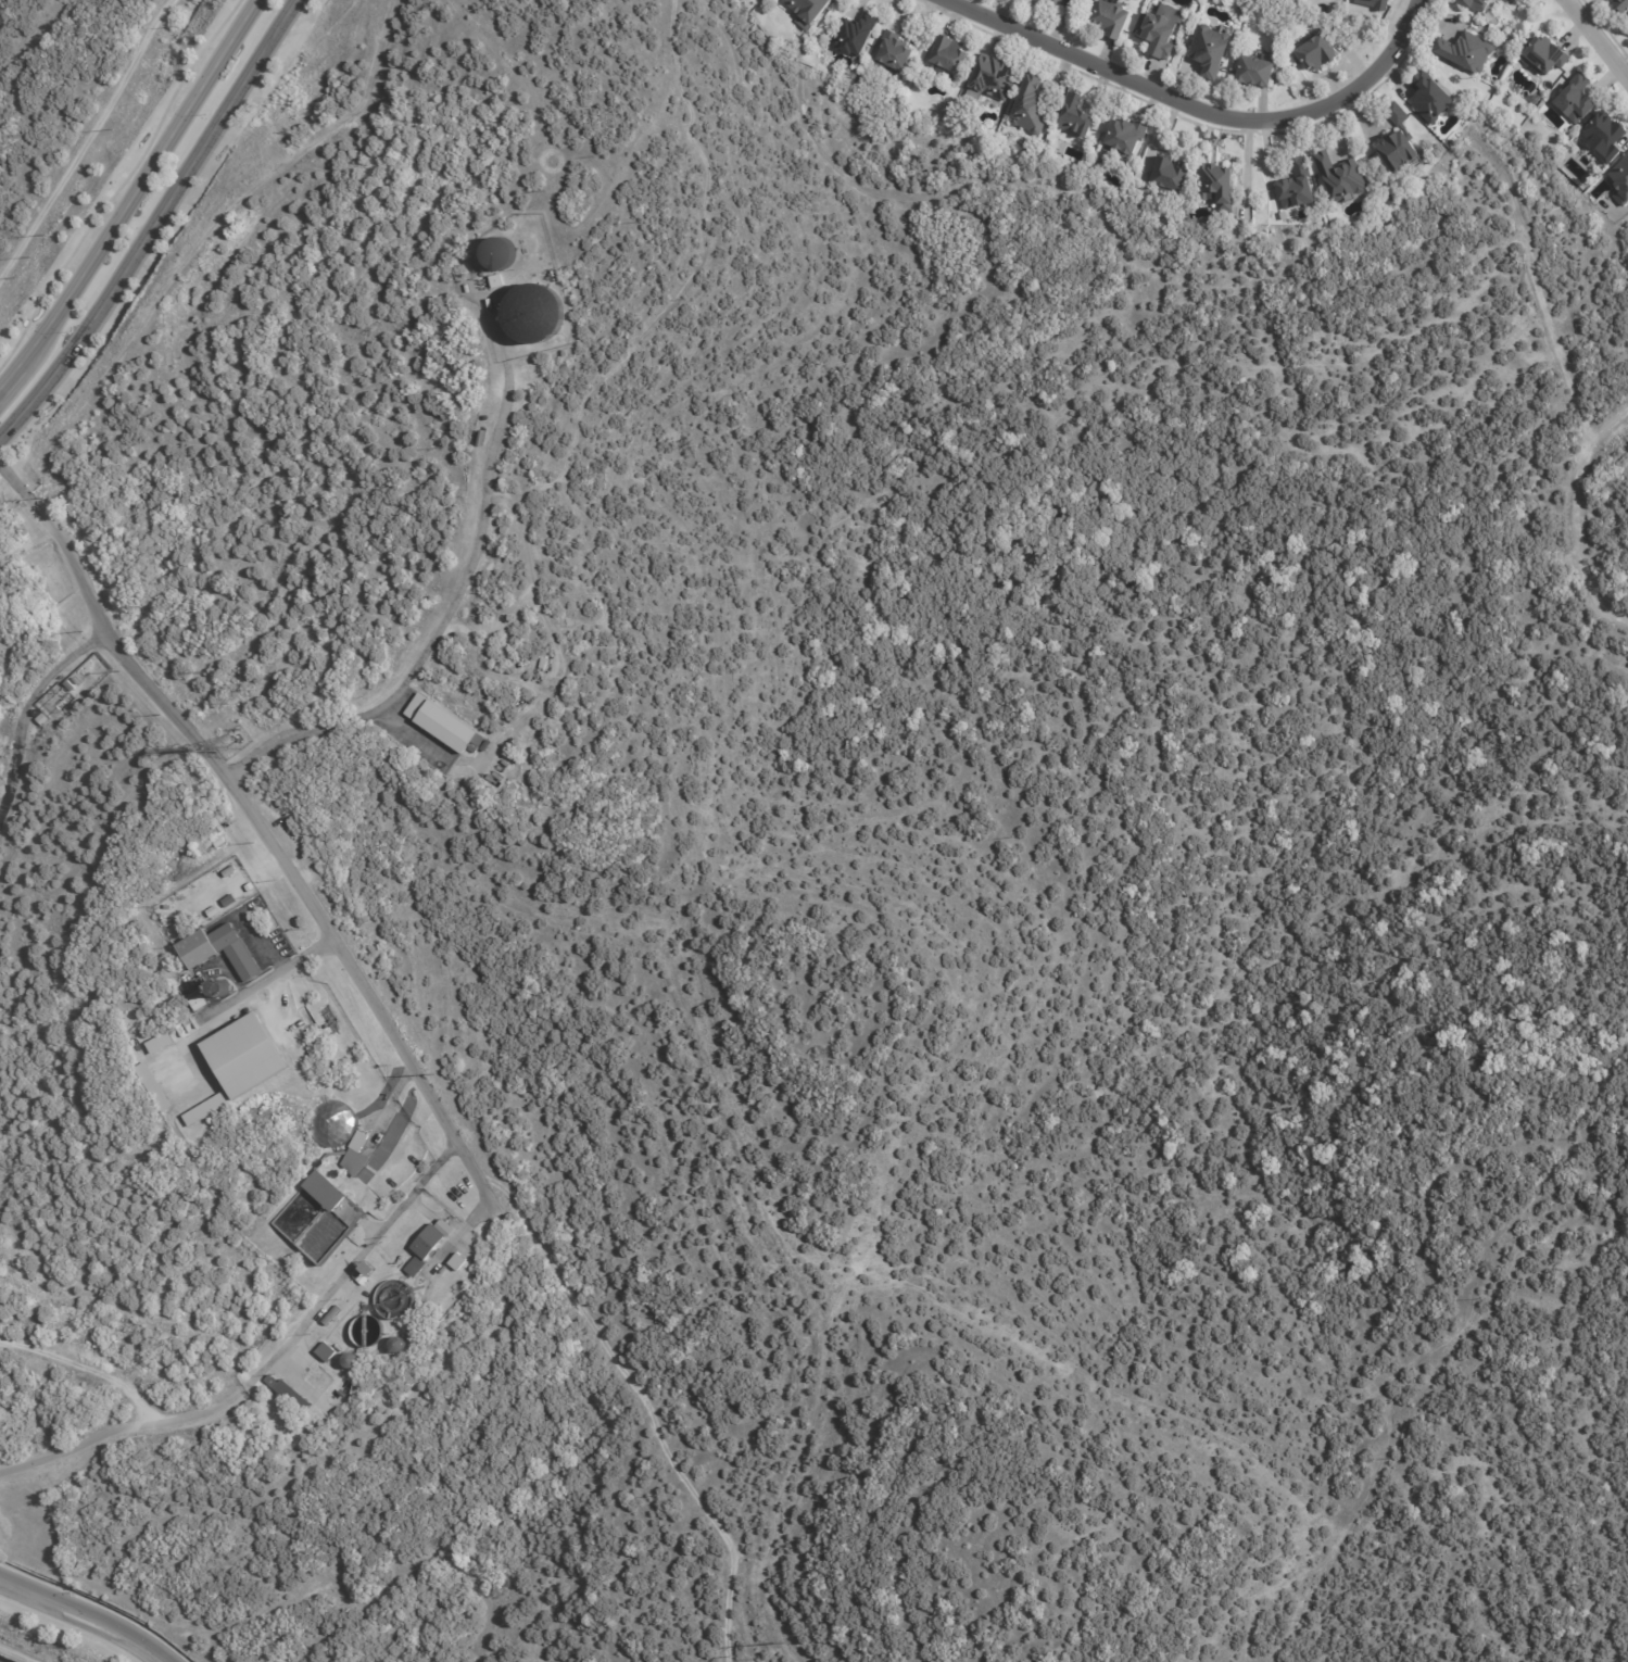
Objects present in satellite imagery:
building: (1086, 0)
building: (1513, 1)
building: (1053, 3)
building: (1374, 3)
building: (1469, 3)
building: (1620, 5)
building: (810, 11)
road: (907, 13)
building: (1112, 18)
building: (1627, 28)
building: (1163, 29)
building: (858, 35)
road: (1594, 42)
building: (1215, 50)
building: (897, 52)
building: (1463, 52)
building: (1543, 53)
building: (950, 54)
building: (1317, 54)
building: (1259, 72)
building: (995, 77)
building: (1434, 99)
building: (1574, 99)
building: (1032, 106)
road: (1194, 111)
building: (1400, 111)
building: (1076, 116)
building: (1398, 117)
building: (1605, 129)
building: (1127, 135)
building: (1401, 154)
building: (1174, 174)
building: (1342, 178)
building: (1620, 181)
building: (1224, 185)
building: (1299, 188)
road: (132, 193)
road: (157, 227)
building: (497, 254)
building: (497, 282)
building: (532, 314)
road: (1576, 517)
road: (437, 630)
building: (70, 685)
road: (28, 707)
building: (43, 720)
building: (451, 731)
power tower: (227, 745)
road: (256, 827)
building: (207, 838)
building: (219, 843)
building: (230, 872)
building: (251, 887)
building: (230, 902)
building: (213, 912)
building: (220, 950)
building: (199, 1004)
building: (331, 1020)
building: (157, 1043)
building: (247, 1056)
power tower: (432, 1075)
building: (151, 1087)
building: (330, 1124)
building: (382, 1150)
building: (355, 1173)
building: (429, 1247)
building: (458, 1262)
building: (361, 1279)
road: (316, 1307)
building: (332, 1317)
building: (326, 1352)
road: (85, 1368)
building: (344, 1396)
building: (292, 1399)
road: (75, 1448)
road: (73, 1622)
power tower: (787, 1645)

